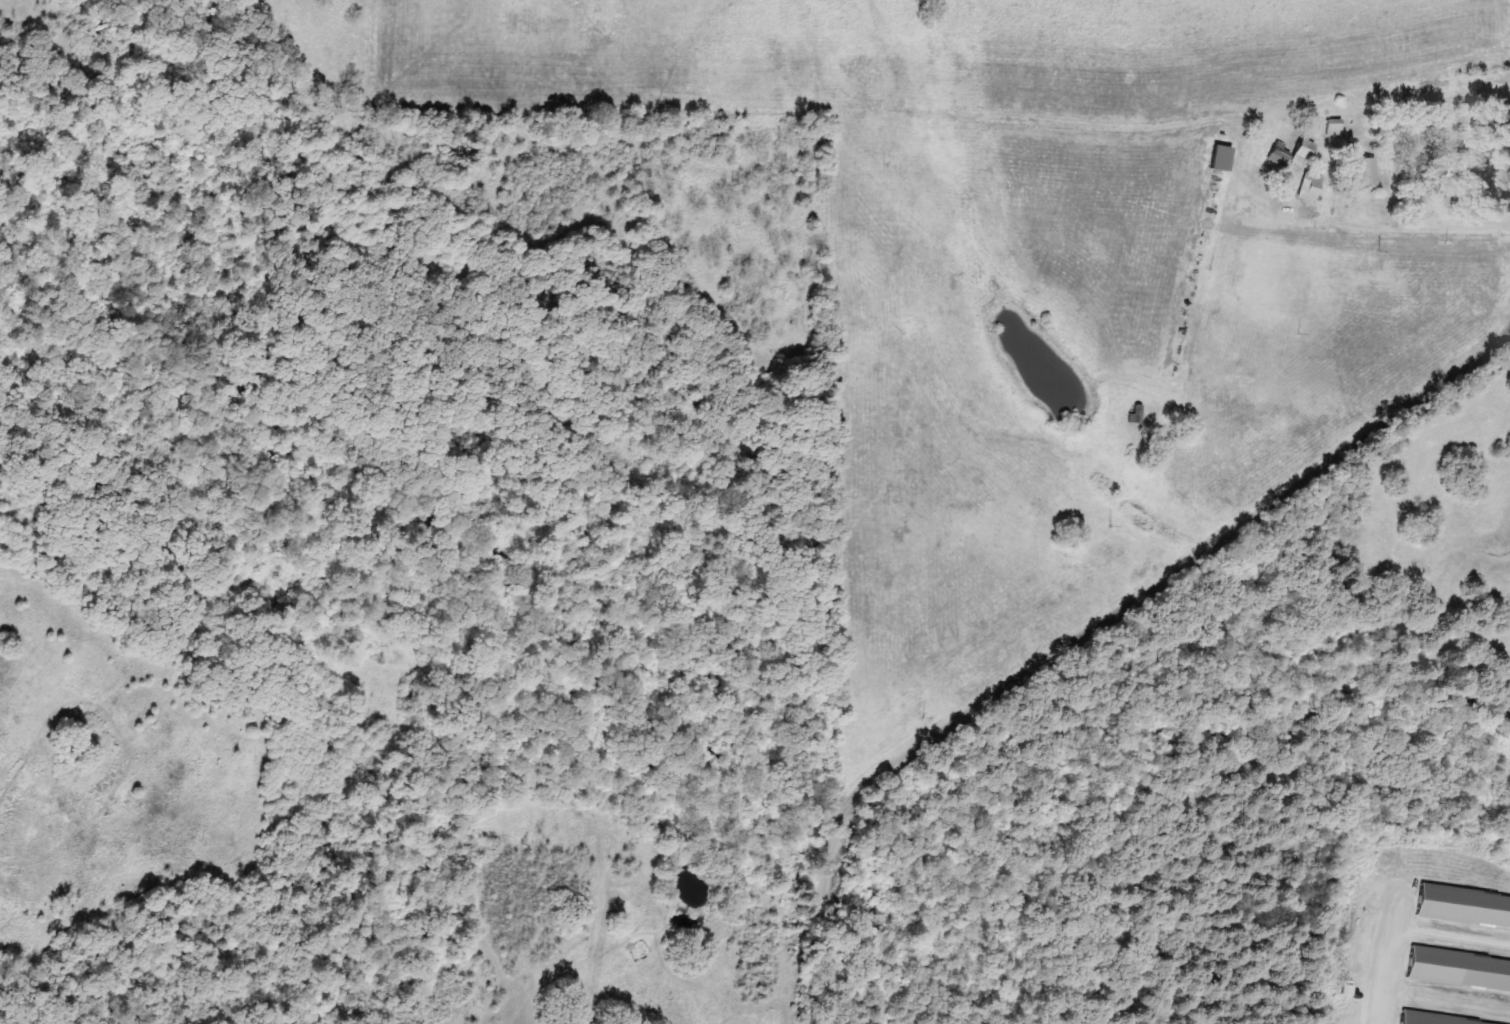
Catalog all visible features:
building: (1337, 127)
building: (1306, 153)
building: (1282, 154)
building: (1224, 158)
building: (1368, 171)
building: (1313, 186)
road: (1192, 565)
road: (830, 905)
building: (1465, 908)
building: (1461, 970)
building: (1431, 1020)

